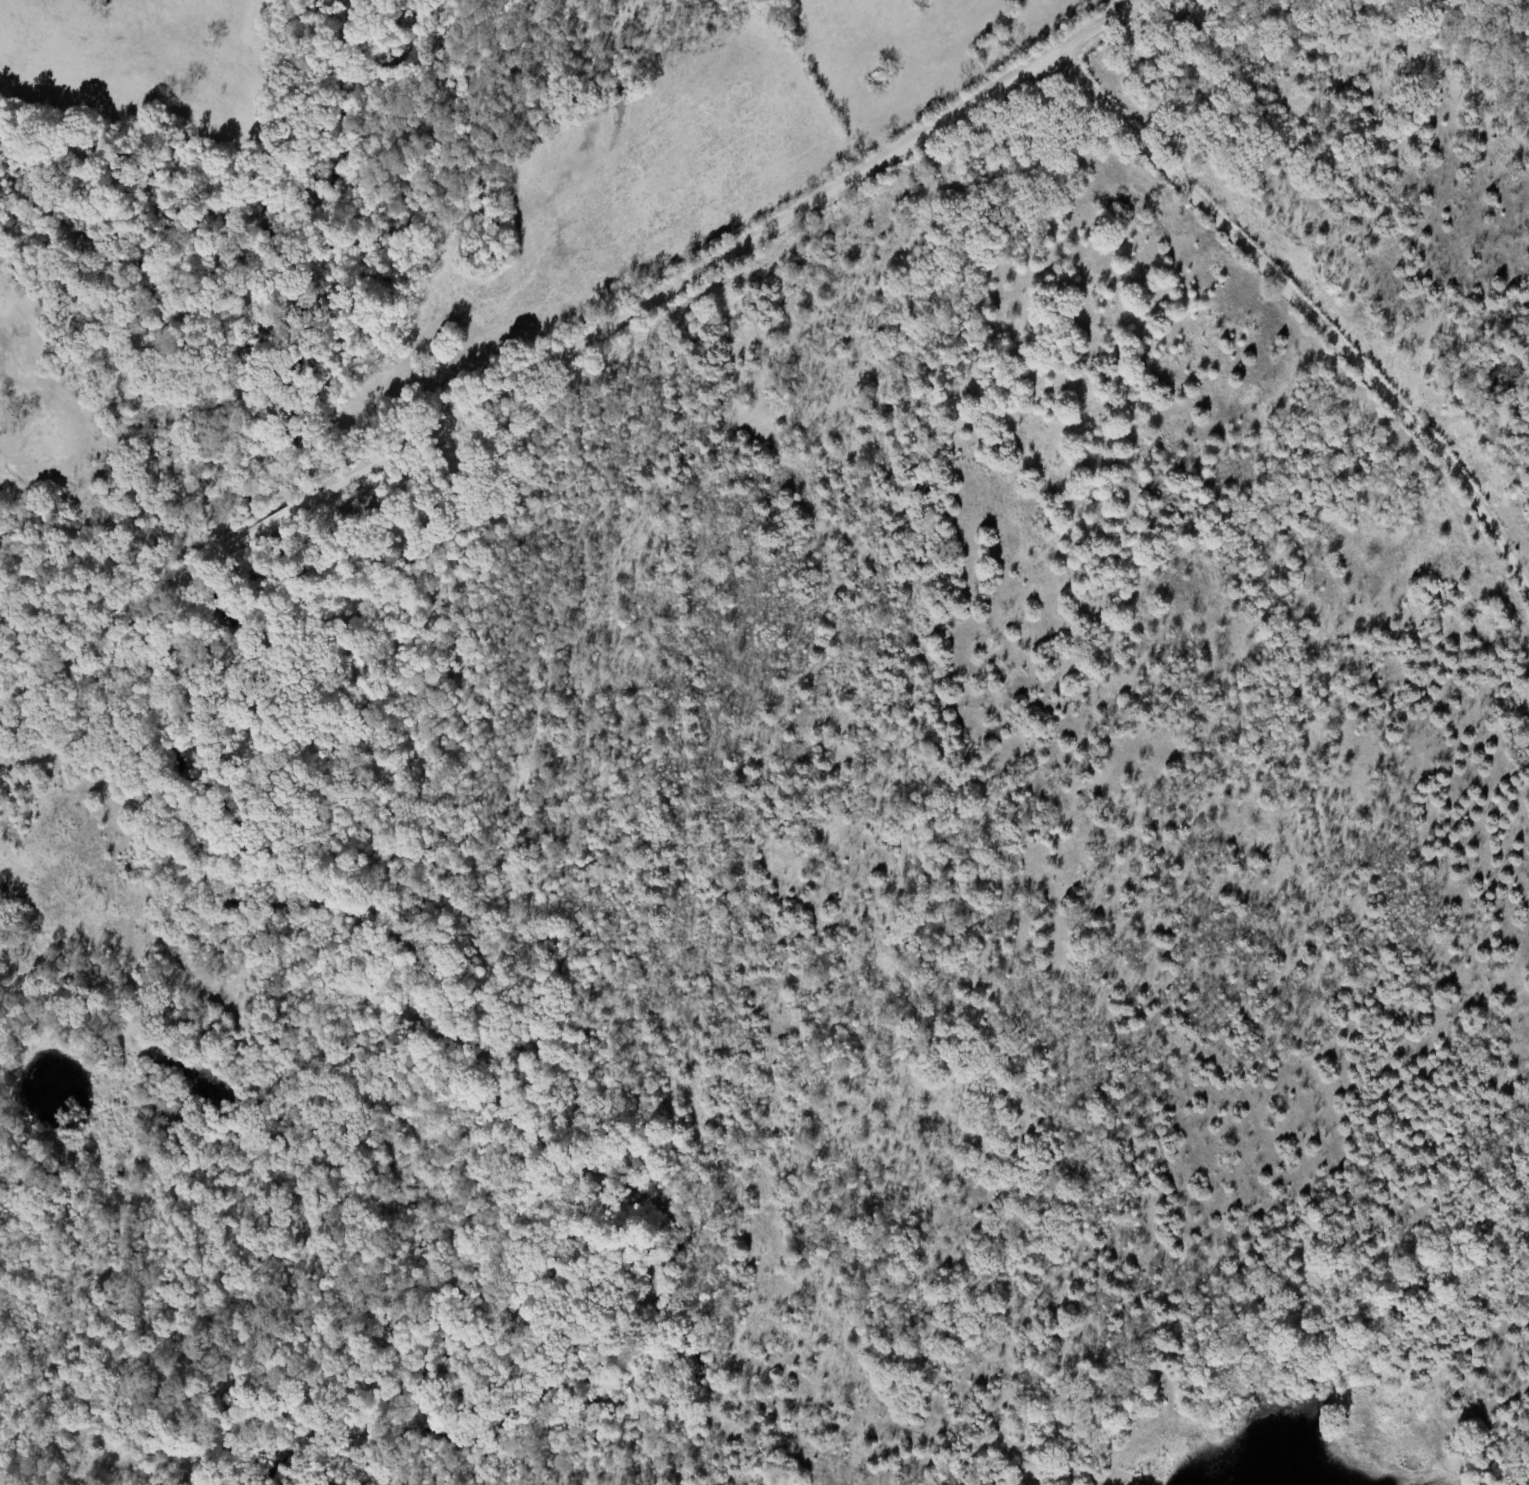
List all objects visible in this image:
road: (1099, 30)
road: (822, 201)

